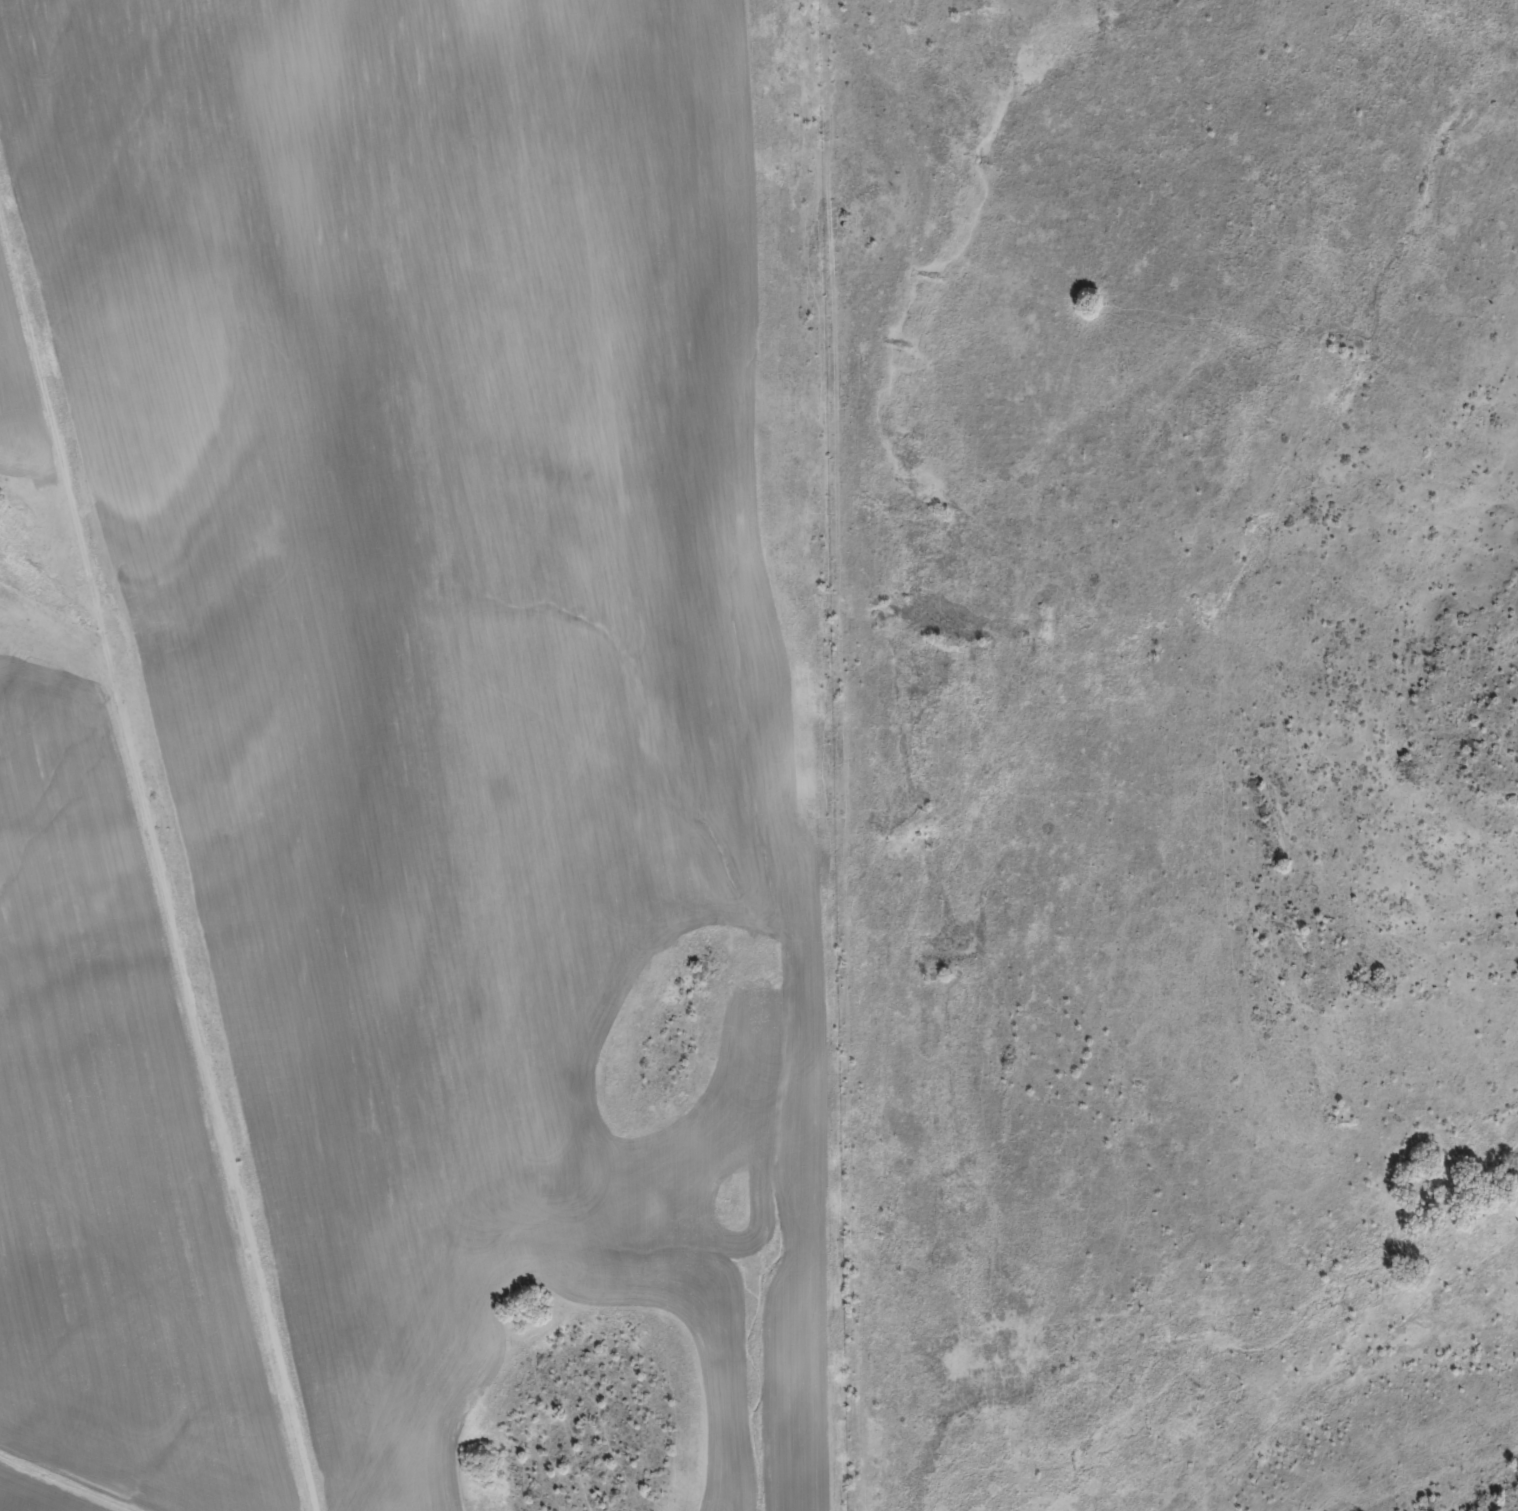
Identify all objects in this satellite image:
road: (104, 842)
road: (1462, 1494)

